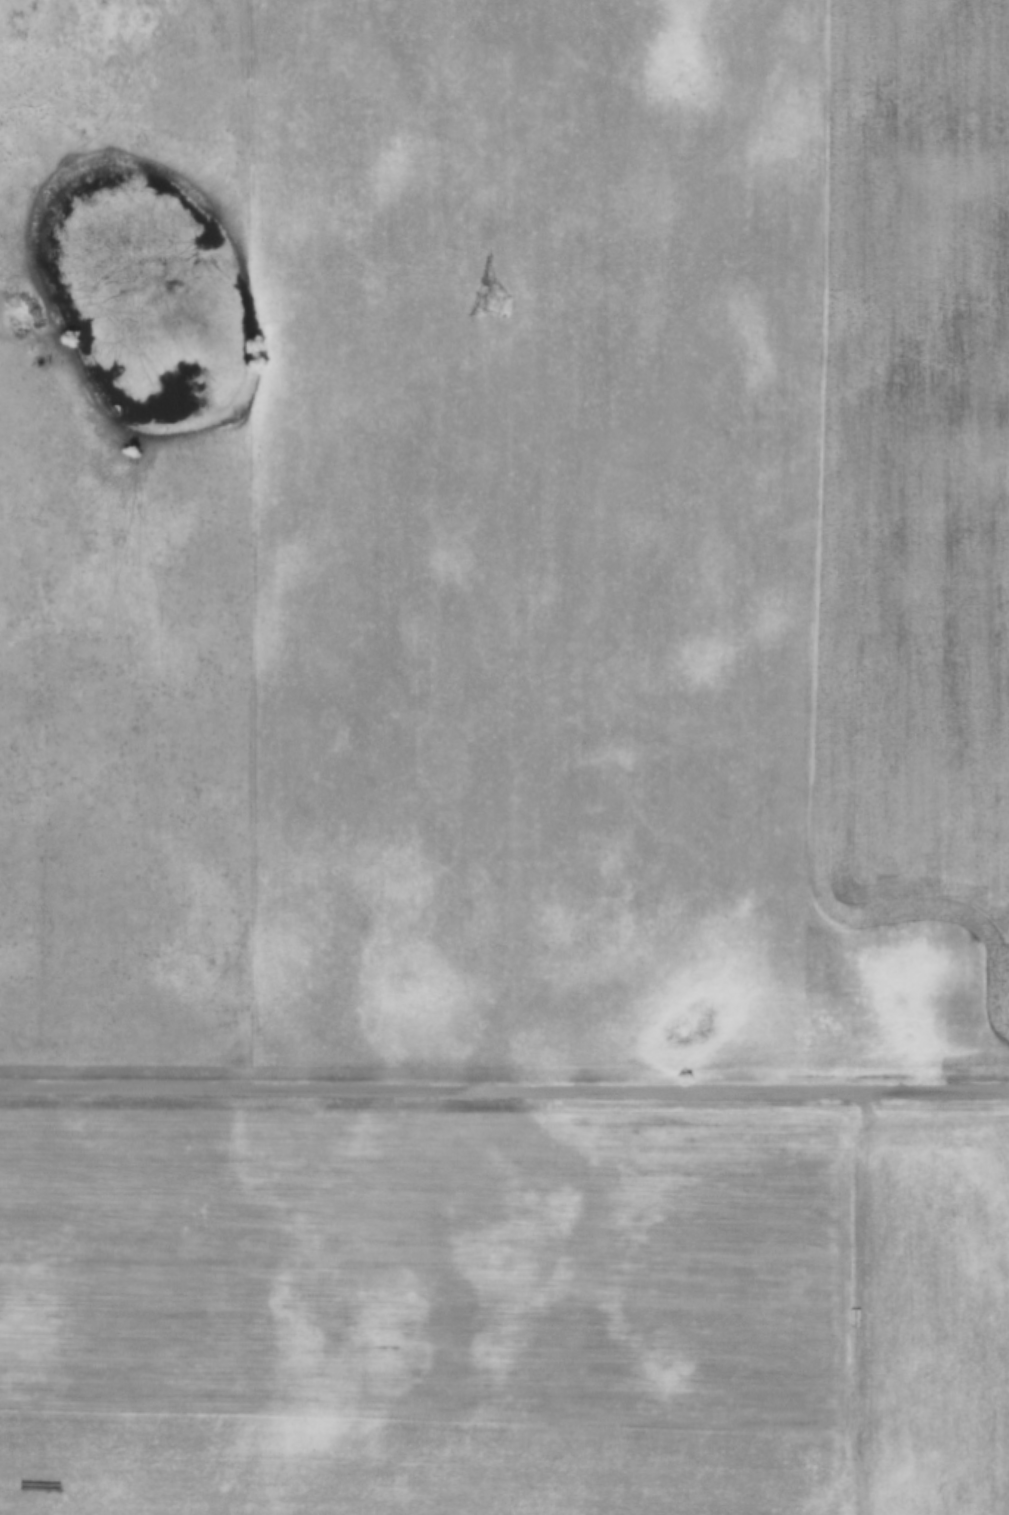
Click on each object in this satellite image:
power tower: (497, 303)
road: (504, 1090)

